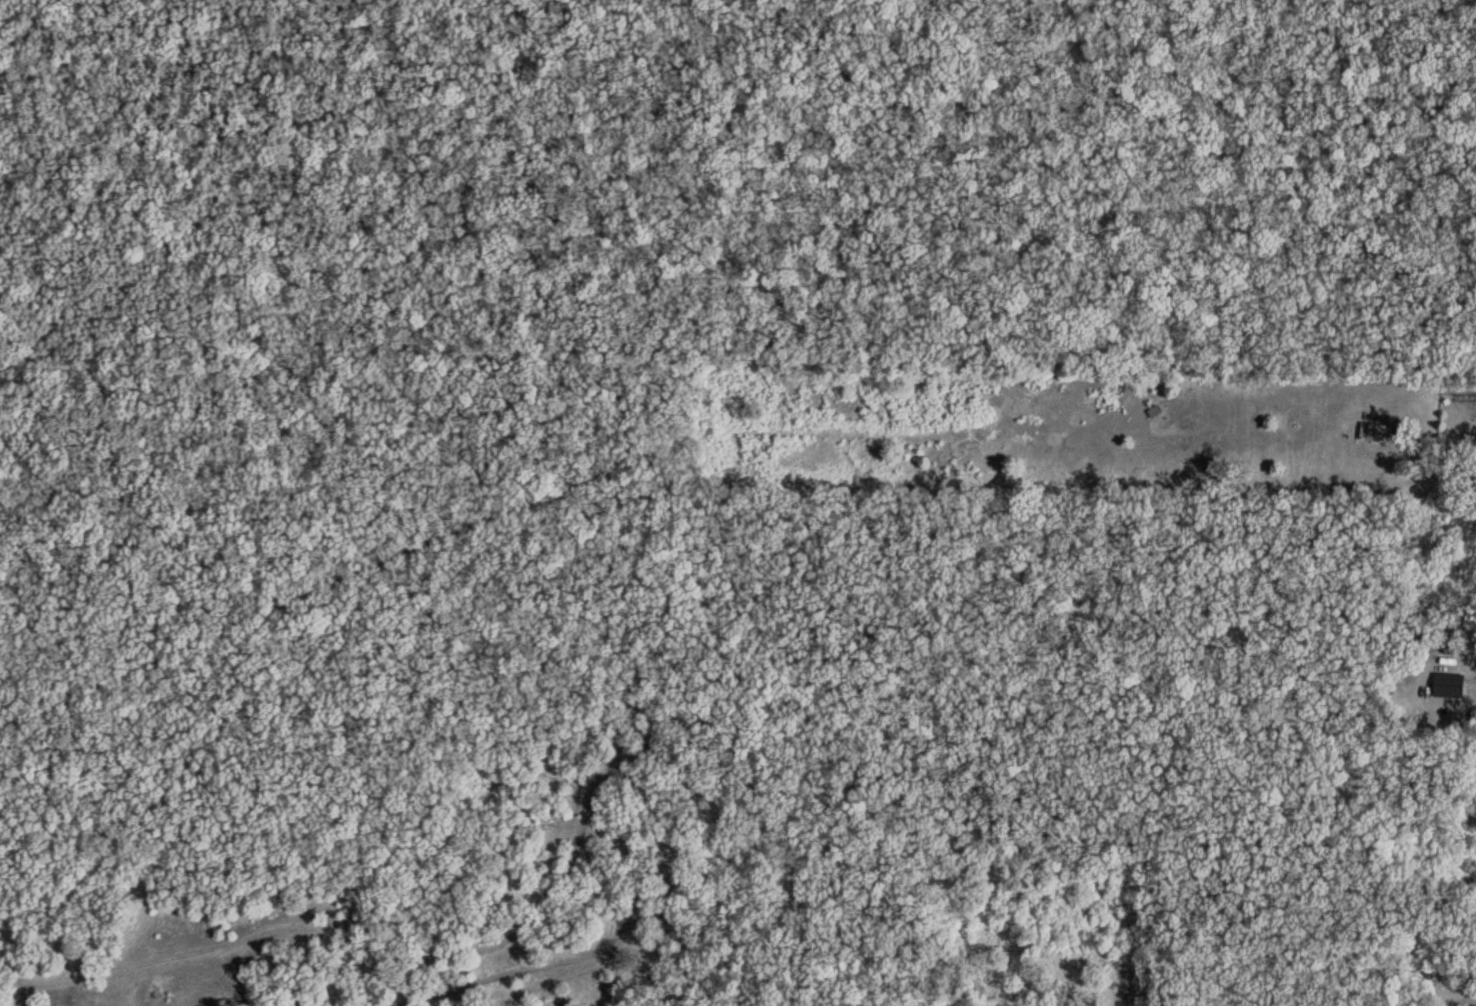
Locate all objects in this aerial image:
building: (1154, 412)
building: (1378, 433)
building: (1449, 686)

